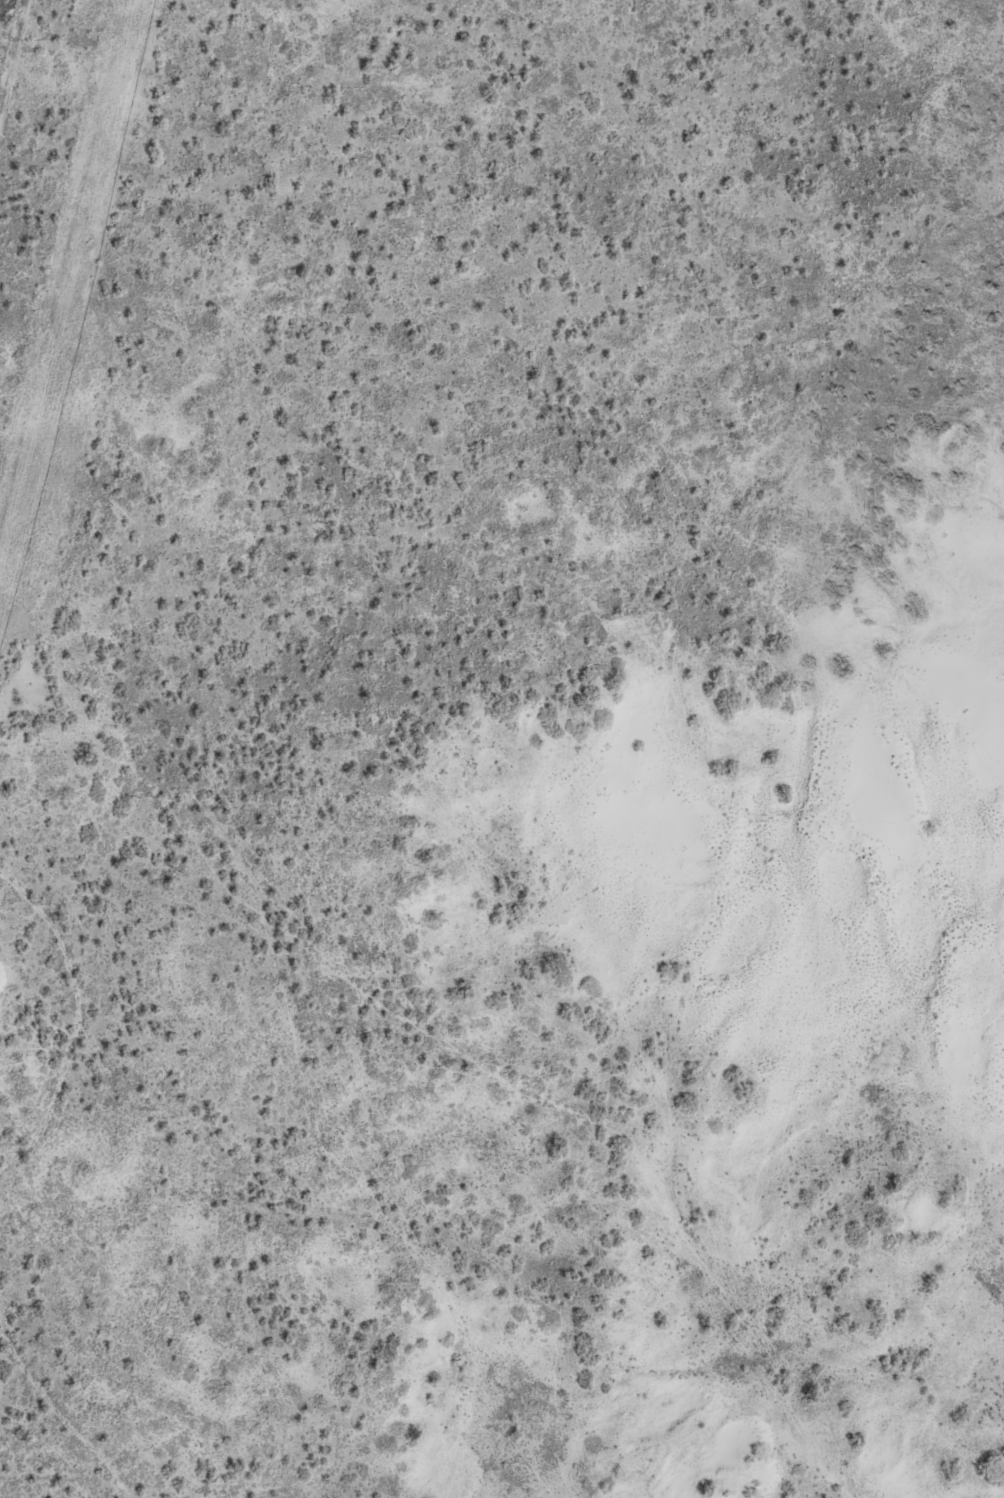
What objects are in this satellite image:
road: (30, 620)

